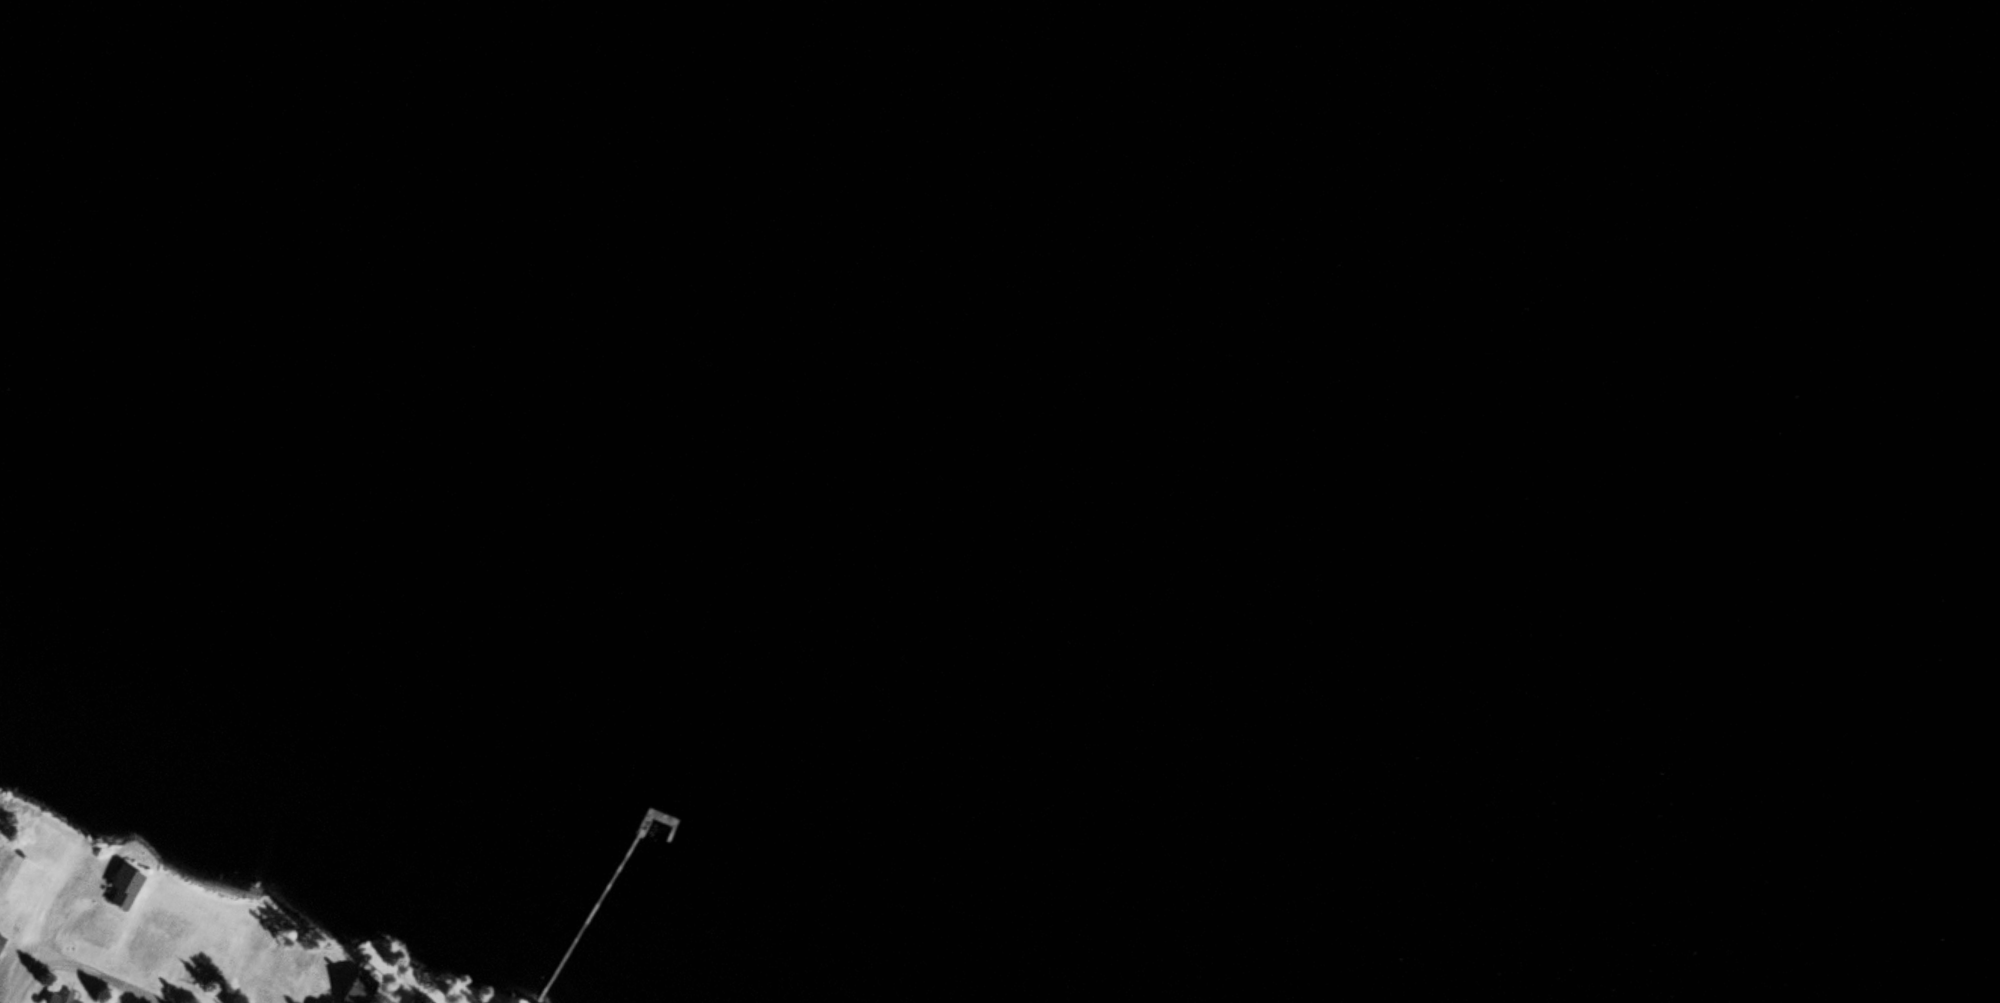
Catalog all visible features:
building: (21, 883)
building: (120, 885)
building: (0, 940)
road: (94, 975)
road: (18, 987)
building: (349, 990)
building: (56, 996)

